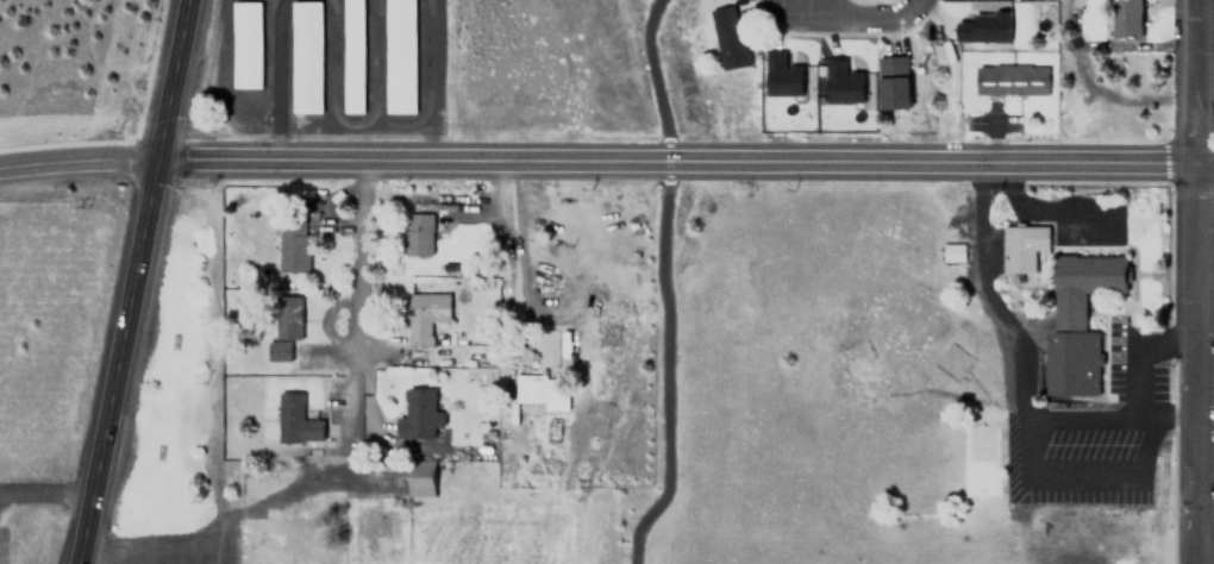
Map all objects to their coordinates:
road: (859, 15)
building: (1125, 19)
building: (985, 26)
building: (727, 38)
building: (251, 43)
building: (357, 54)
building: (311, 55)
building: (406, 55)
building: (783, 74)
building: (1010, 80)
building: (844, 82)
building: (891, 82)
road: (79, 159)
road: (686, 161)
building: (415, 233)
building: (292, 244)
building: (1021, 245)
building: (951, 251)
road: (361, 259)
road: (1189, 281)
road: (136, 282)
road: (646, 296)
building: (421, 314)
building: (289, 318)
building: (1077, 318)
building: (277, 350)
building: (534, 389)
building: (415, 413)
building: (294, 420)
parking lot: (1085, 440)
building: (419, 477)
building: (293, 528)

